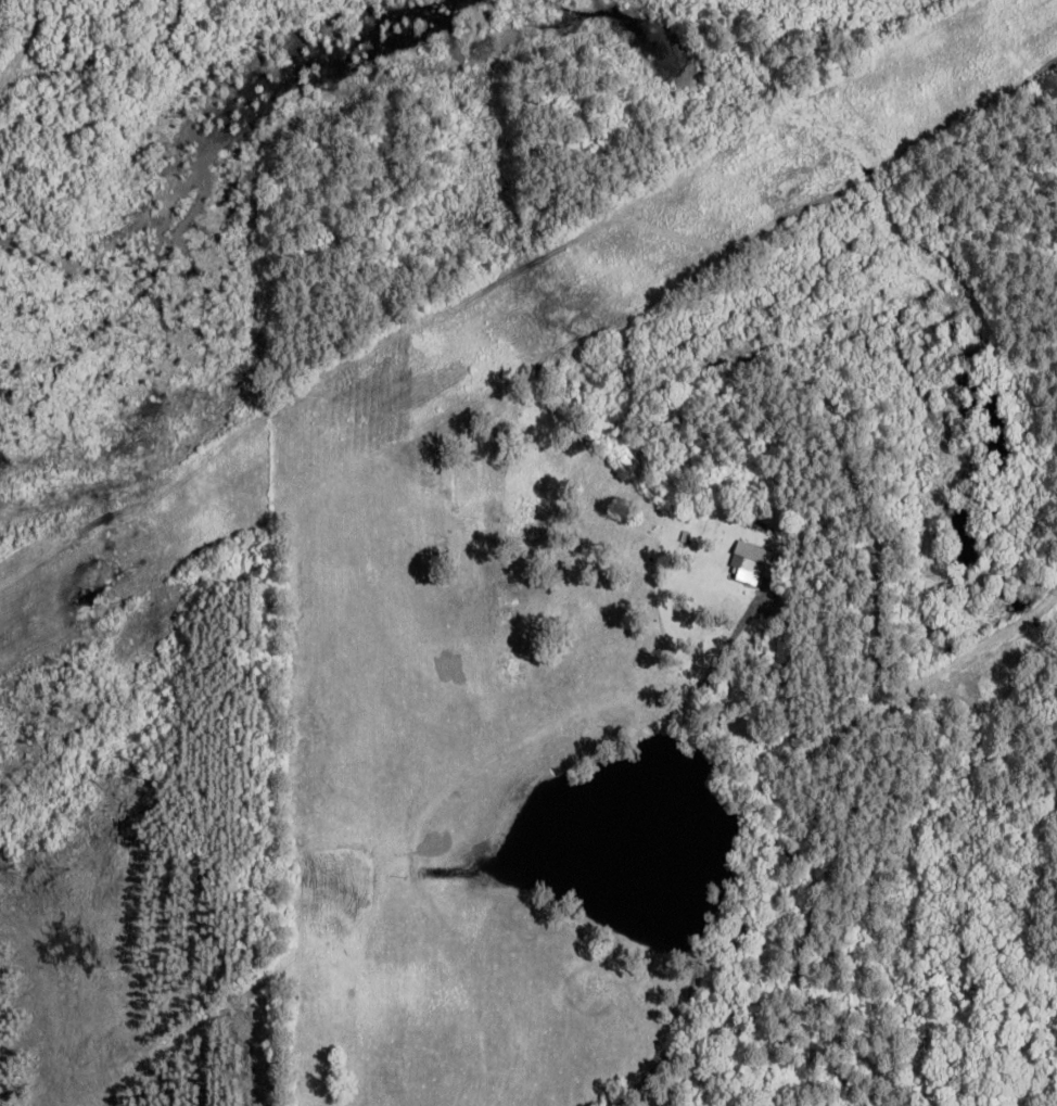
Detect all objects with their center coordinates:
building: (756, 573)

